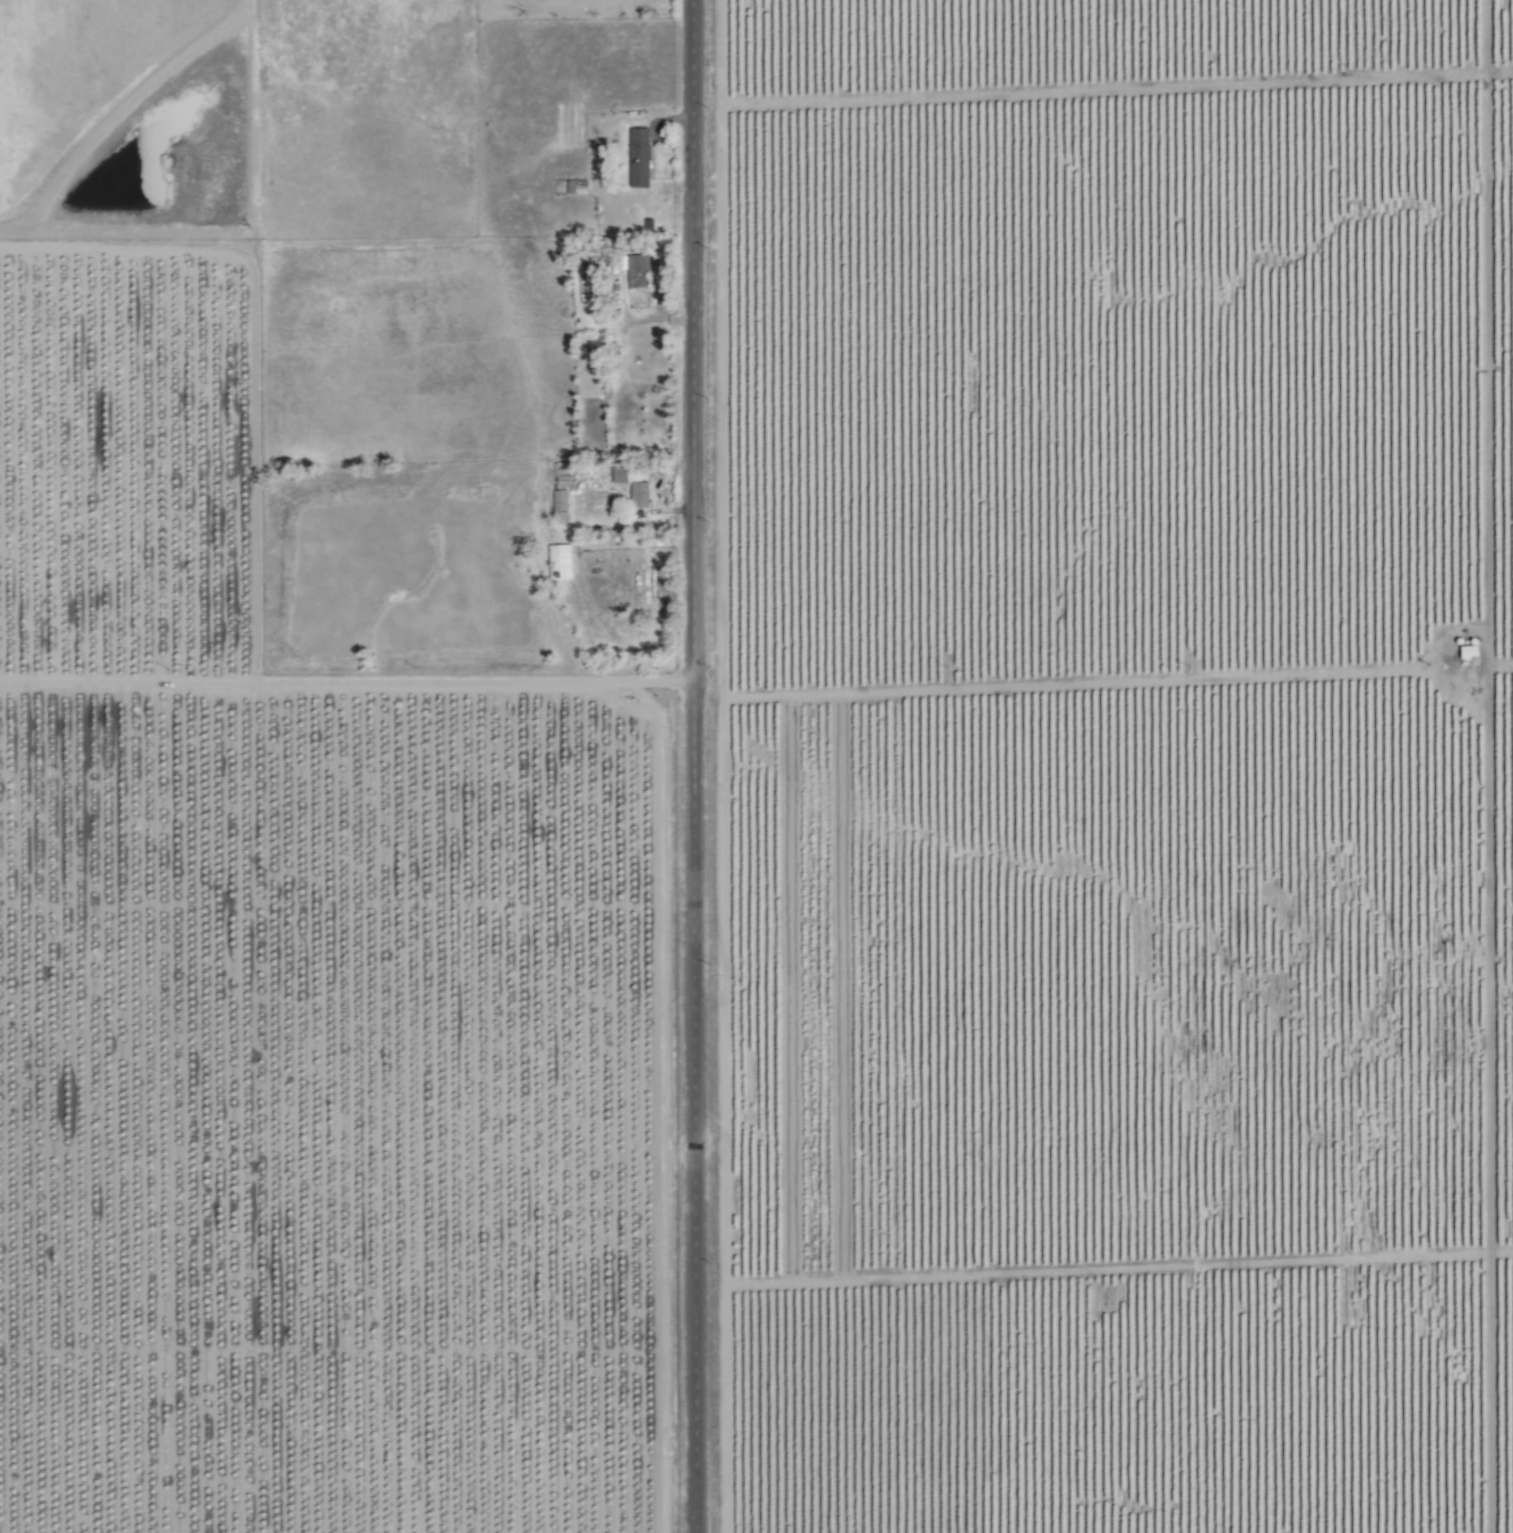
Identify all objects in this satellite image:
building: (641, 159)
building: (638, 271)
road: (347, 684)
road: (695, 766)
crop: (963, 880)

